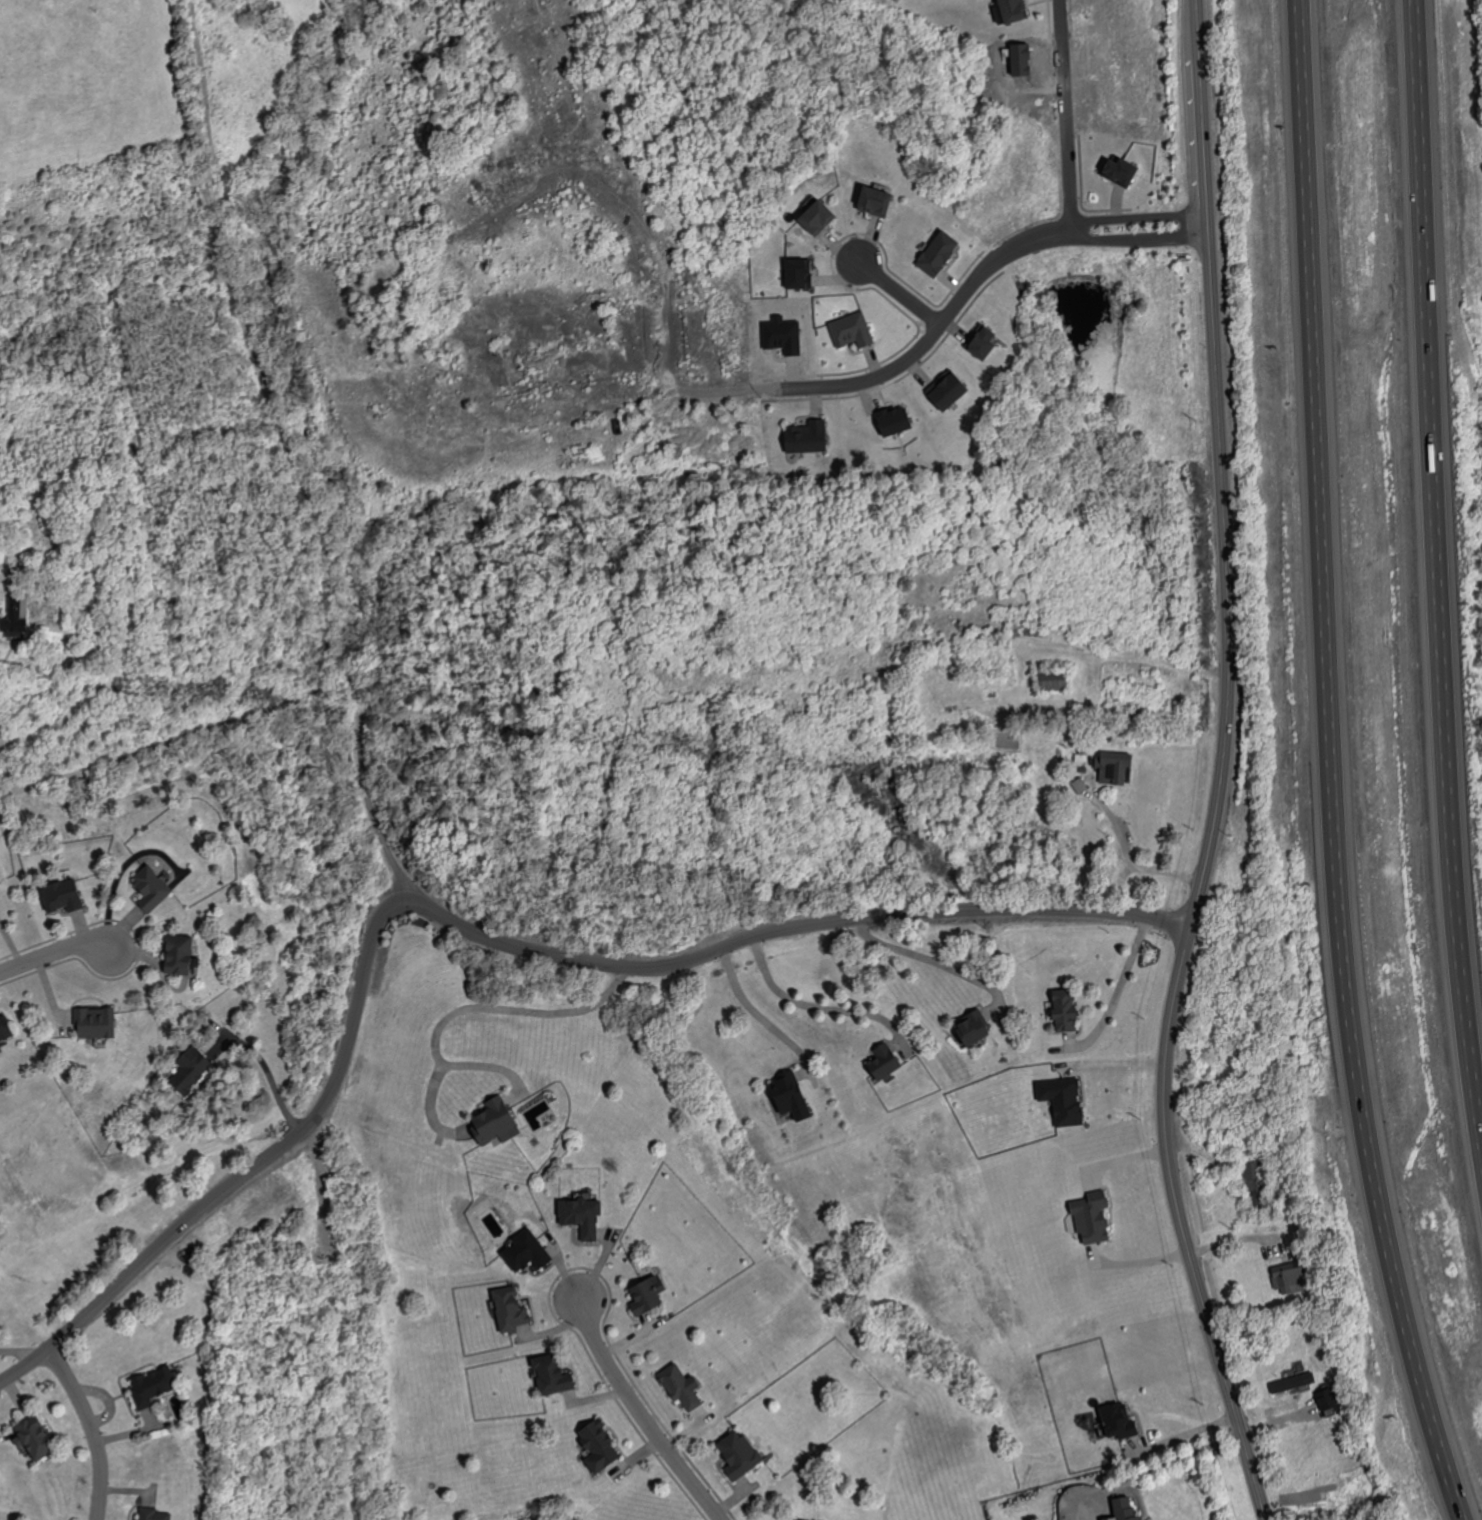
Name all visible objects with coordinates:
building: (1014, 10)
road: (1065, 114)
road: (206, 137)
building: (1121, 171)
building: (876, 201)
building: (818, 217)
road: (1139, 219)
road: (1138, 240)
building: (939, 253)
road: (995, 263)
building: (799, 273)
road: (899, 292)
building: (852, 330)
building: (783, 335)
building: (984, 343)
road: (870, 380)
building: (948, 390)
building: (895, 421)
building: (807, 437)
road: (296, 477)
road: (1437, 570)
building: (17, 617)
building: (1054, 680)
road: (162, 740)
road: (8, 764)
road: (1330, 766)
building: (1116, 768)
road: (1222, 769)
road: (364, 789)
road: (1133, 858)
road: (121, 868)
building: (152, 889)
building: (62, 896)
road: (52, 954)
building: (179, 955)
road: (927, 958)
road: (674, 962)
road: (1119, 986)
road: (472, 1005)
road: (813, 1006)
road: (753, 1010)
building: (1065, 1010)
building: (96, 1023)
building: (4, 1028)
building: (974, 1028)
building: (885, 1063)
building: (191, 1070)
road: (271, 1073)
building: (791, 1096)
building: (1063, 1100)
building: (496, 1123)
building: (1253, 1185)
building: (583, 1214)
building: (1092, 1218)
road: (156, 1251)
building: (527, 1251)
building: (1291, 1278)
building: (648, 1293)
building: (510, 1309)
road: (21, 1350)
building: (553, 1374)
building: (1293, 1382)
building: (153, 1385)
building: (682, 1386)
building: (1328, 1398)
road: (639, 1414)
building: (1119, 1420)
road: (91, 1429)
road: (1186, 1434)
building: (35, 1437)
building: (599, 1445)
building: (740, 1454)
road: (1184, 1458)
building: (1126, 1509)
building: (154, 1514)
building: (801, 1519)

